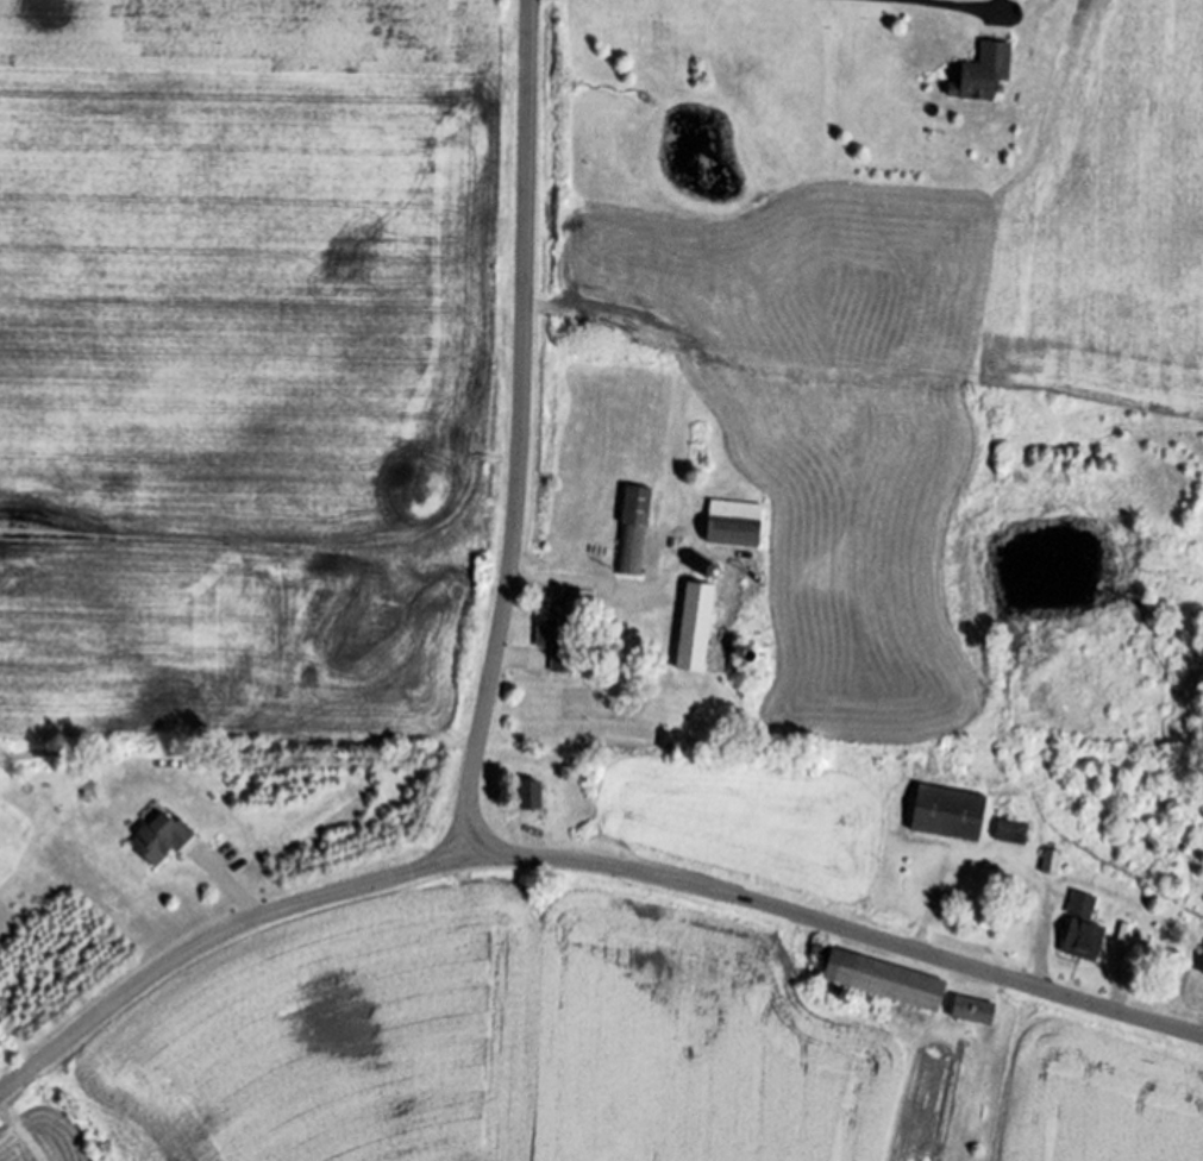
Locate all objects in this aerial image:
road: (951, 7)
building: (985, 73)
road: (524, 431)
building: (737, 521)
building: (634, 526)
road: (582, 582)
building: (698, 626)
building: (560, 632)
building: (533, 793)
building: (952, 811)
building: (1014, 830)
building: (164, 837)
building: (1052, 860)
road: (581, 861)
road: (237, 890)
building: (1085, 928)
building: (889, 980)
building: (976, 1009)

